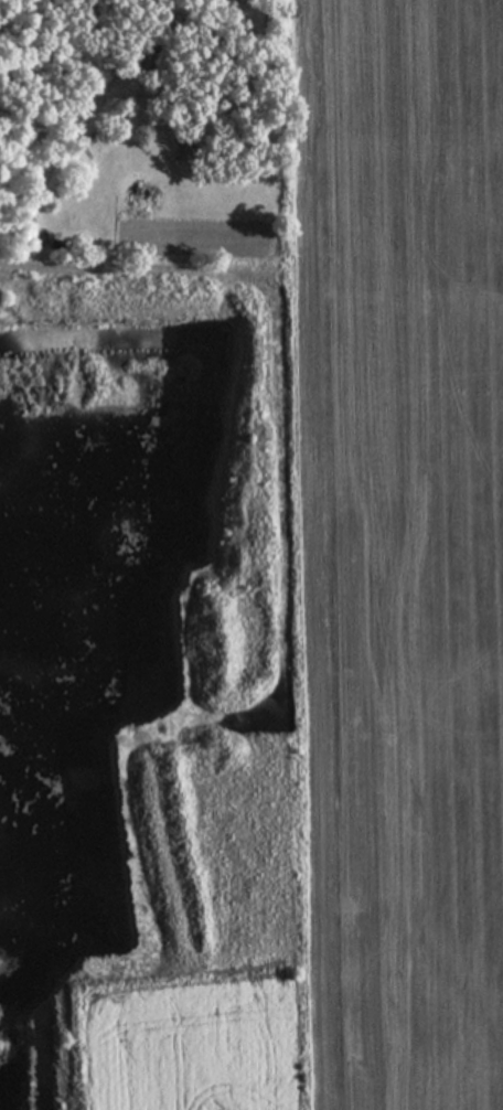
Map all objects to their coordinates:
quarry: (39, 717)

